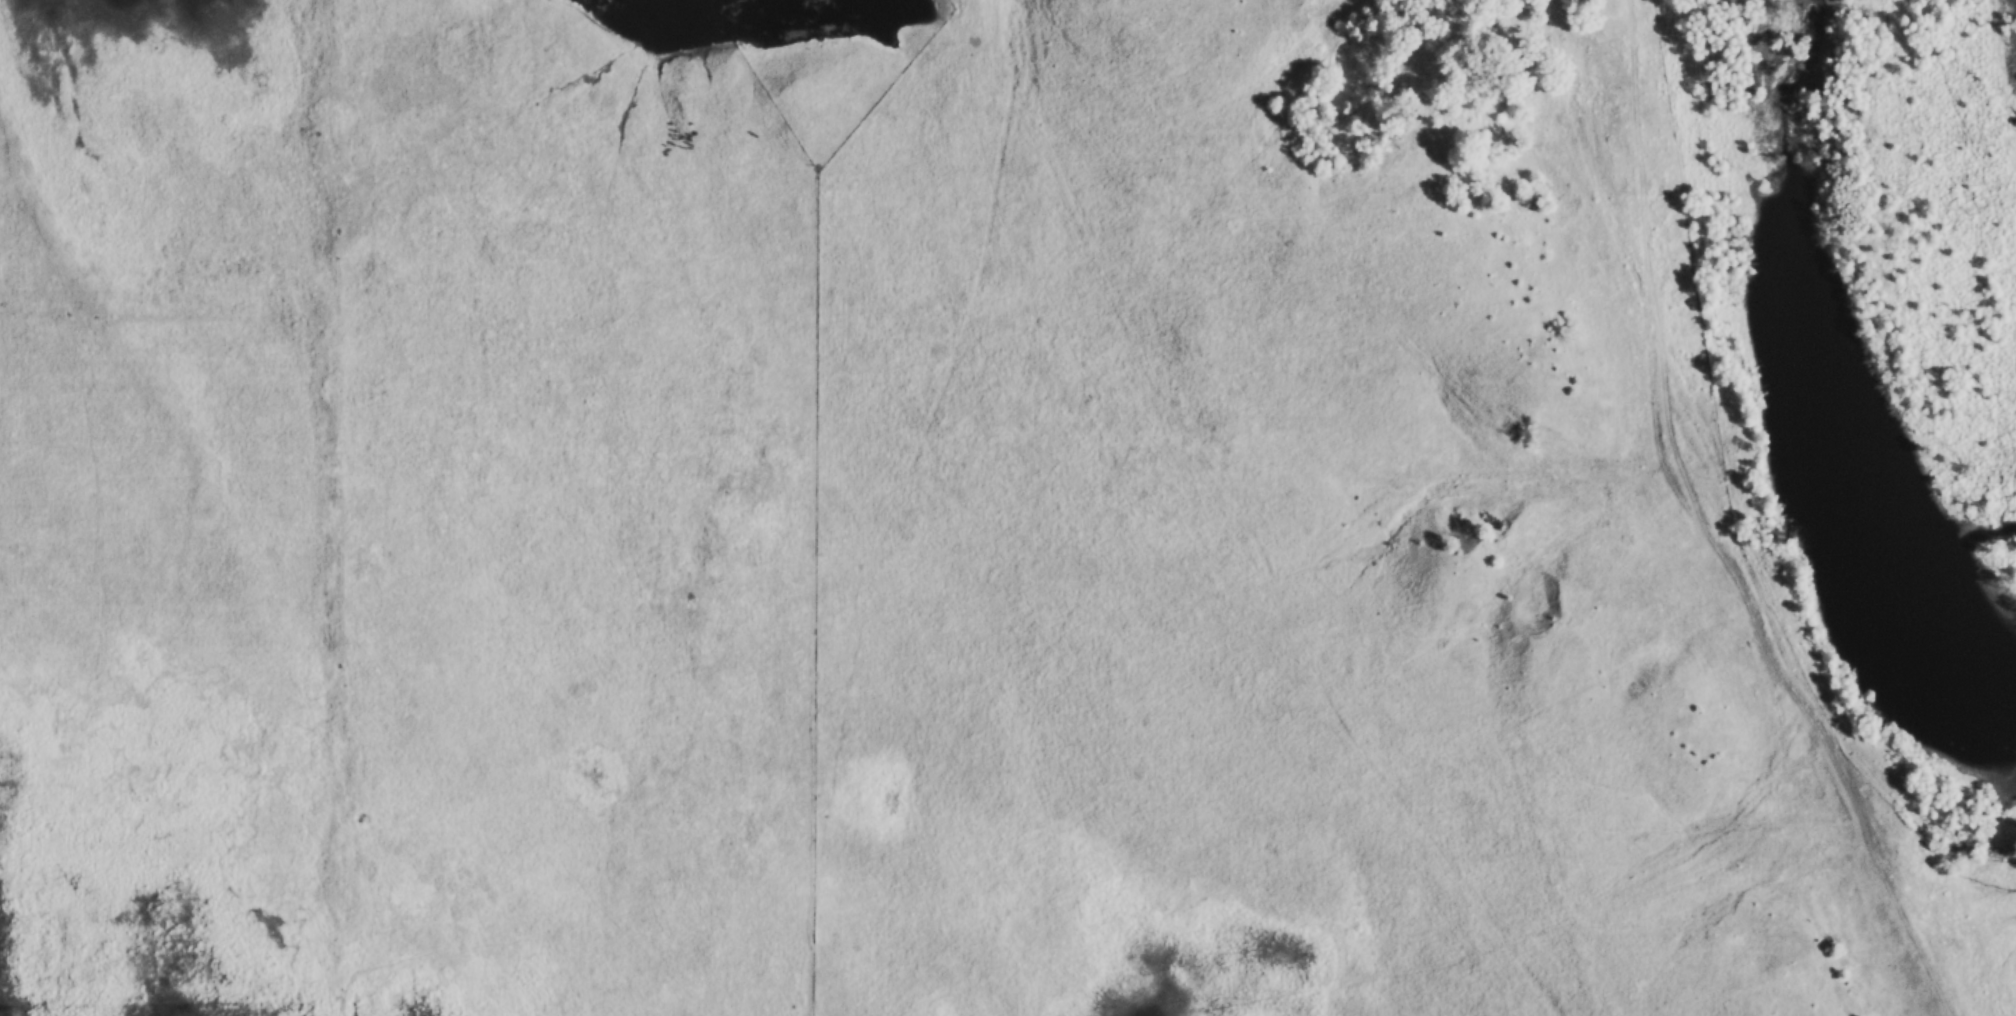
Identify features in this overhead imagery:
road: (1637, 100)

